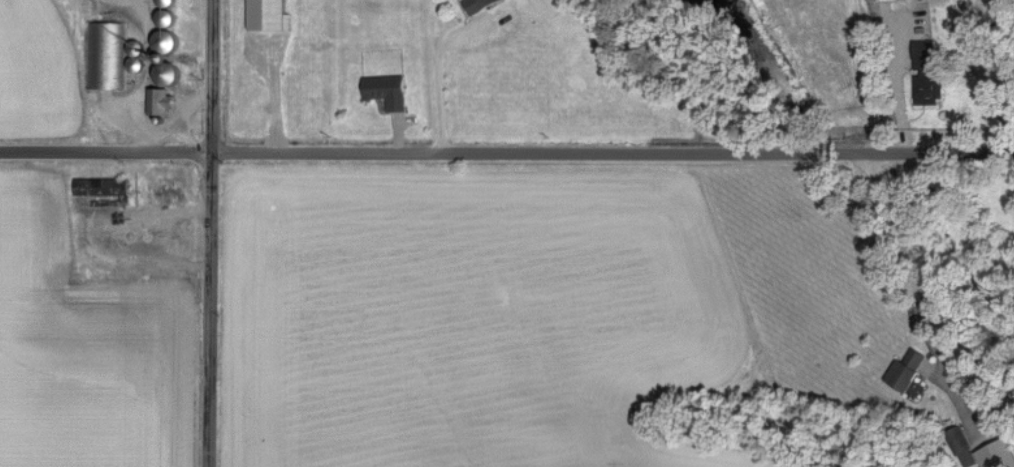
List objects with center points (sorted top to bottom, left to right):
building: (474, 4)
building: (266, 14)
building: (163, 56)
road: (438, 68)
building: (924, 72)
road: (900, 86)
building: (384, 89)
building: (157, 100)
road: (162, 114)
road: (506, 152)
road: (203, 233)
road: (938, 284)
building: (925, 366)
building: (903, 369)
building: (960, 445)
building: (995, 454)

